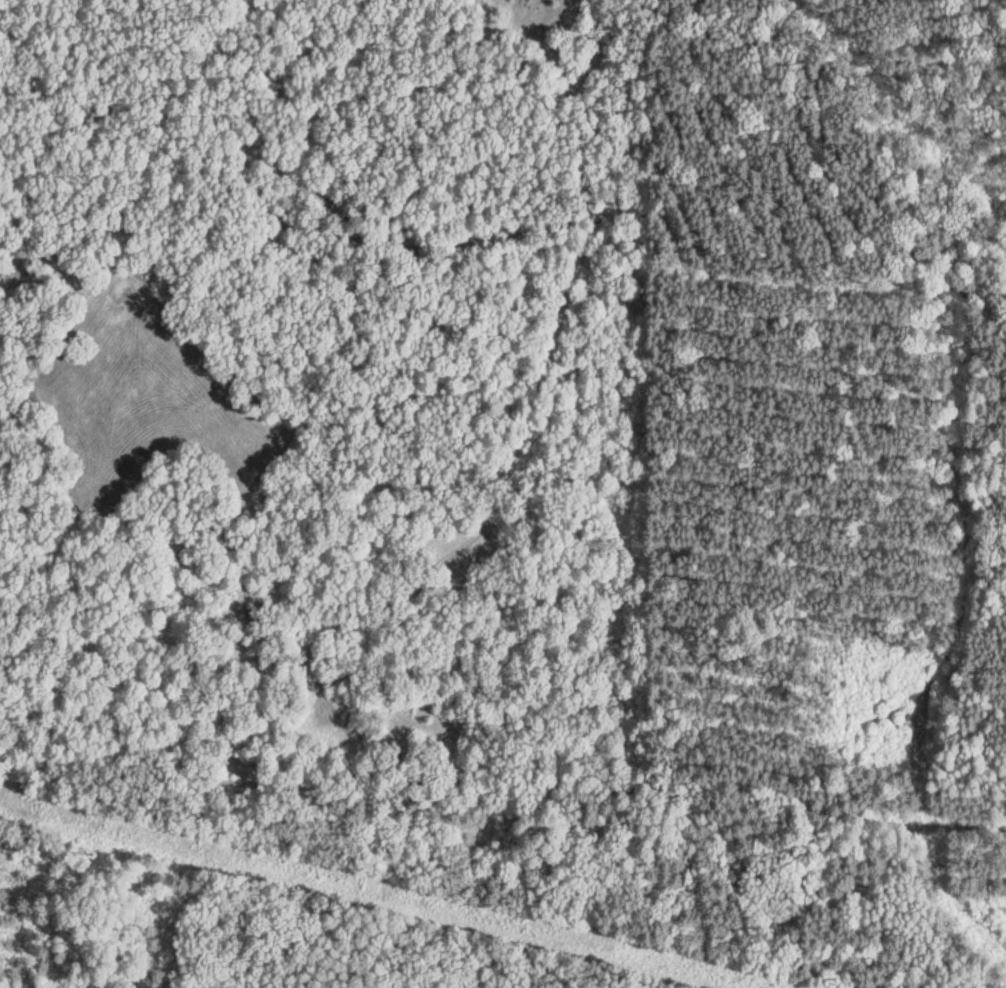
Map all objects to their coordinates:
road: (848, 147)
road: (502, 798)

